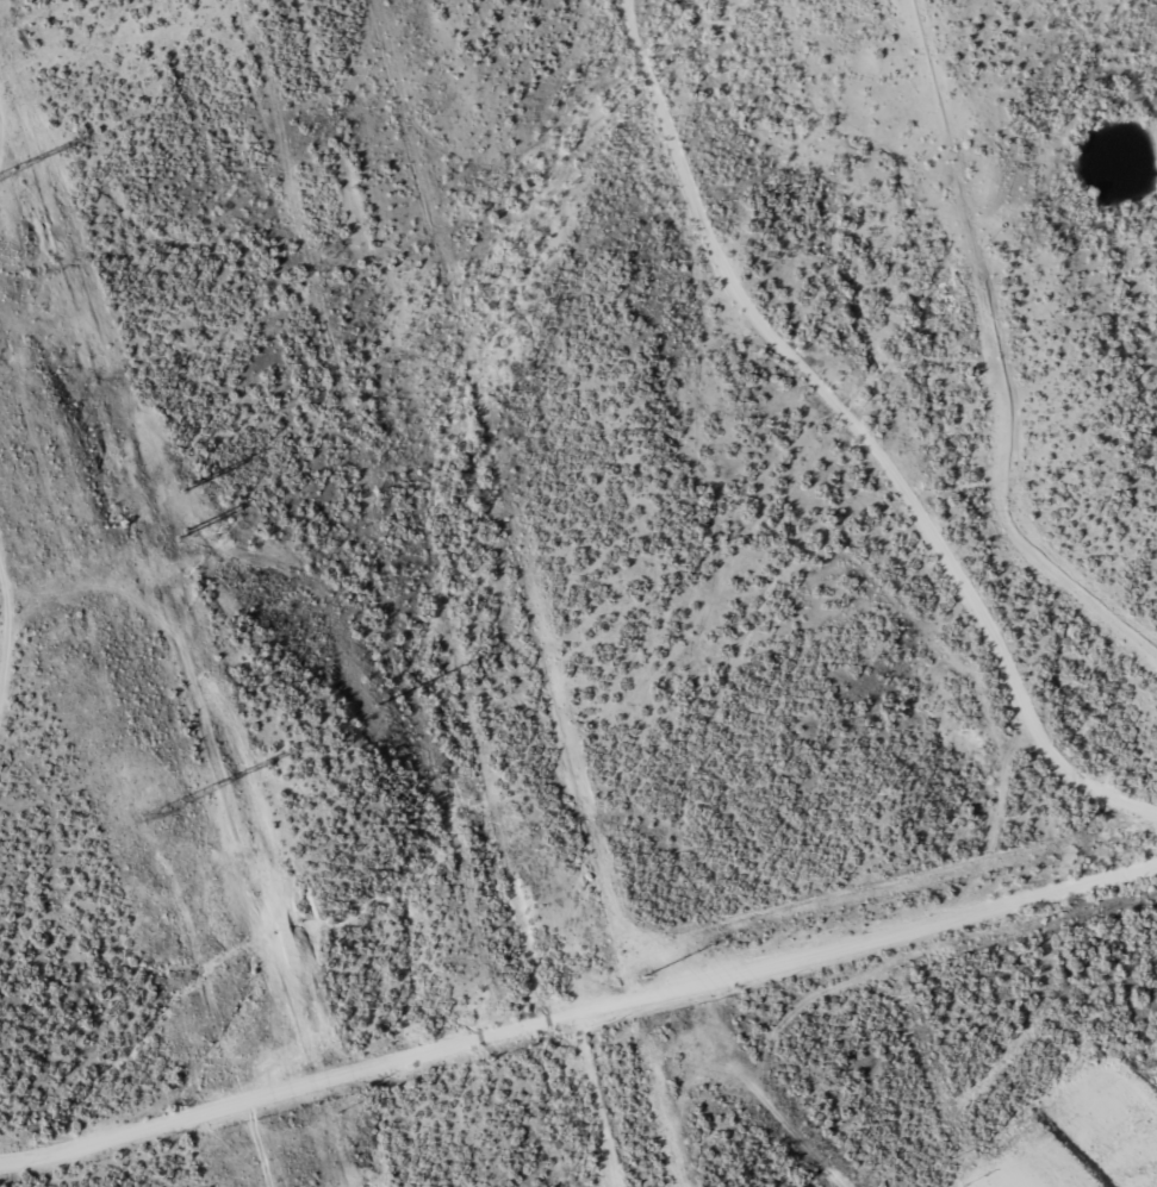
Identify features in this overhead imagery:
road: (945, 263)
road: (867, 376)
power tower: (186, 489)
power tower: (183, 537)
power tower: (377, 706)
power tower: (150, 819)
road: (889, 918)
power tower: (642, 976)

